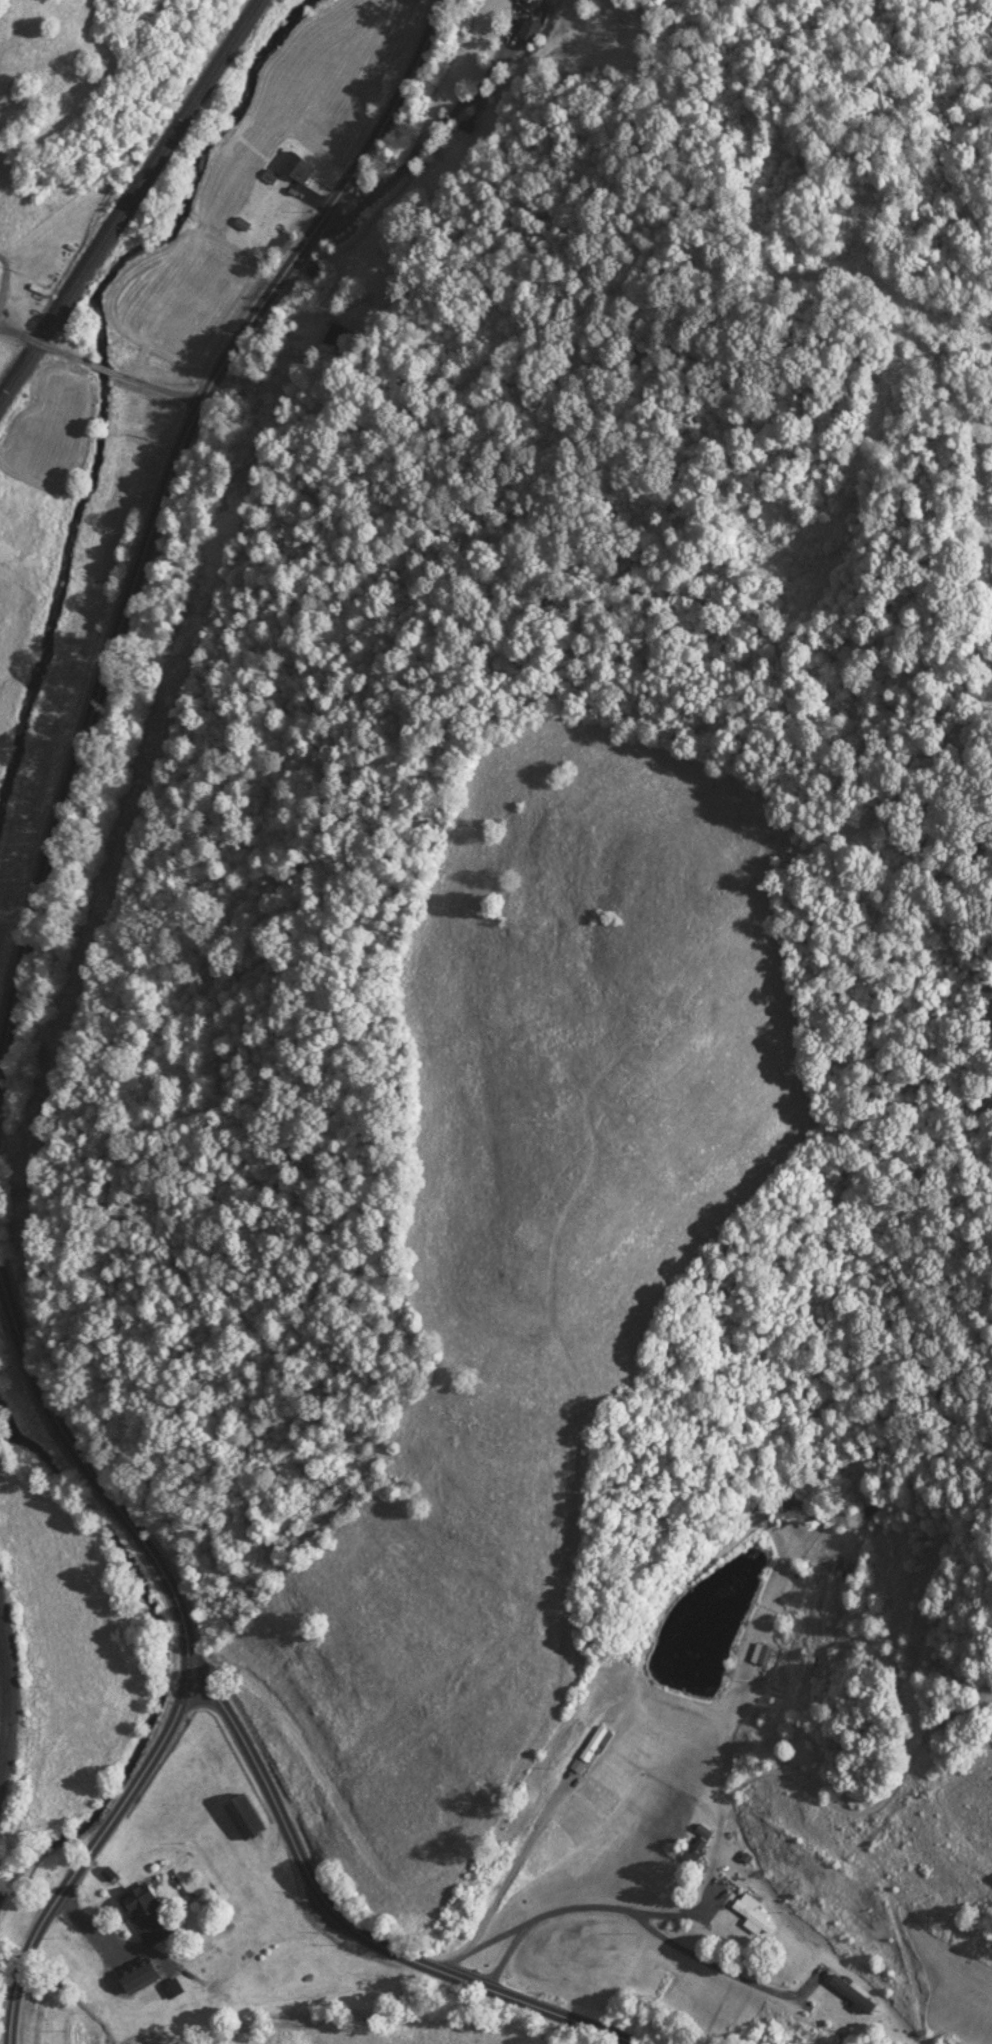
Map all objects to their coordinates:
building: (295, 166)
railway: (128, 196)
road: (101, 363)
river: (109, 384)
road: (161, 515)
road: (193, 1650)
building: (760, 1652)
railway: (4, 1702)
building: (587, 1748)
building: (239, 1814)
building: (693, 1843)
building: (136, 1898)
building: (752, 1913)
road: (360, 1931)
building: (127, 1977)
building: (848, 1991)

